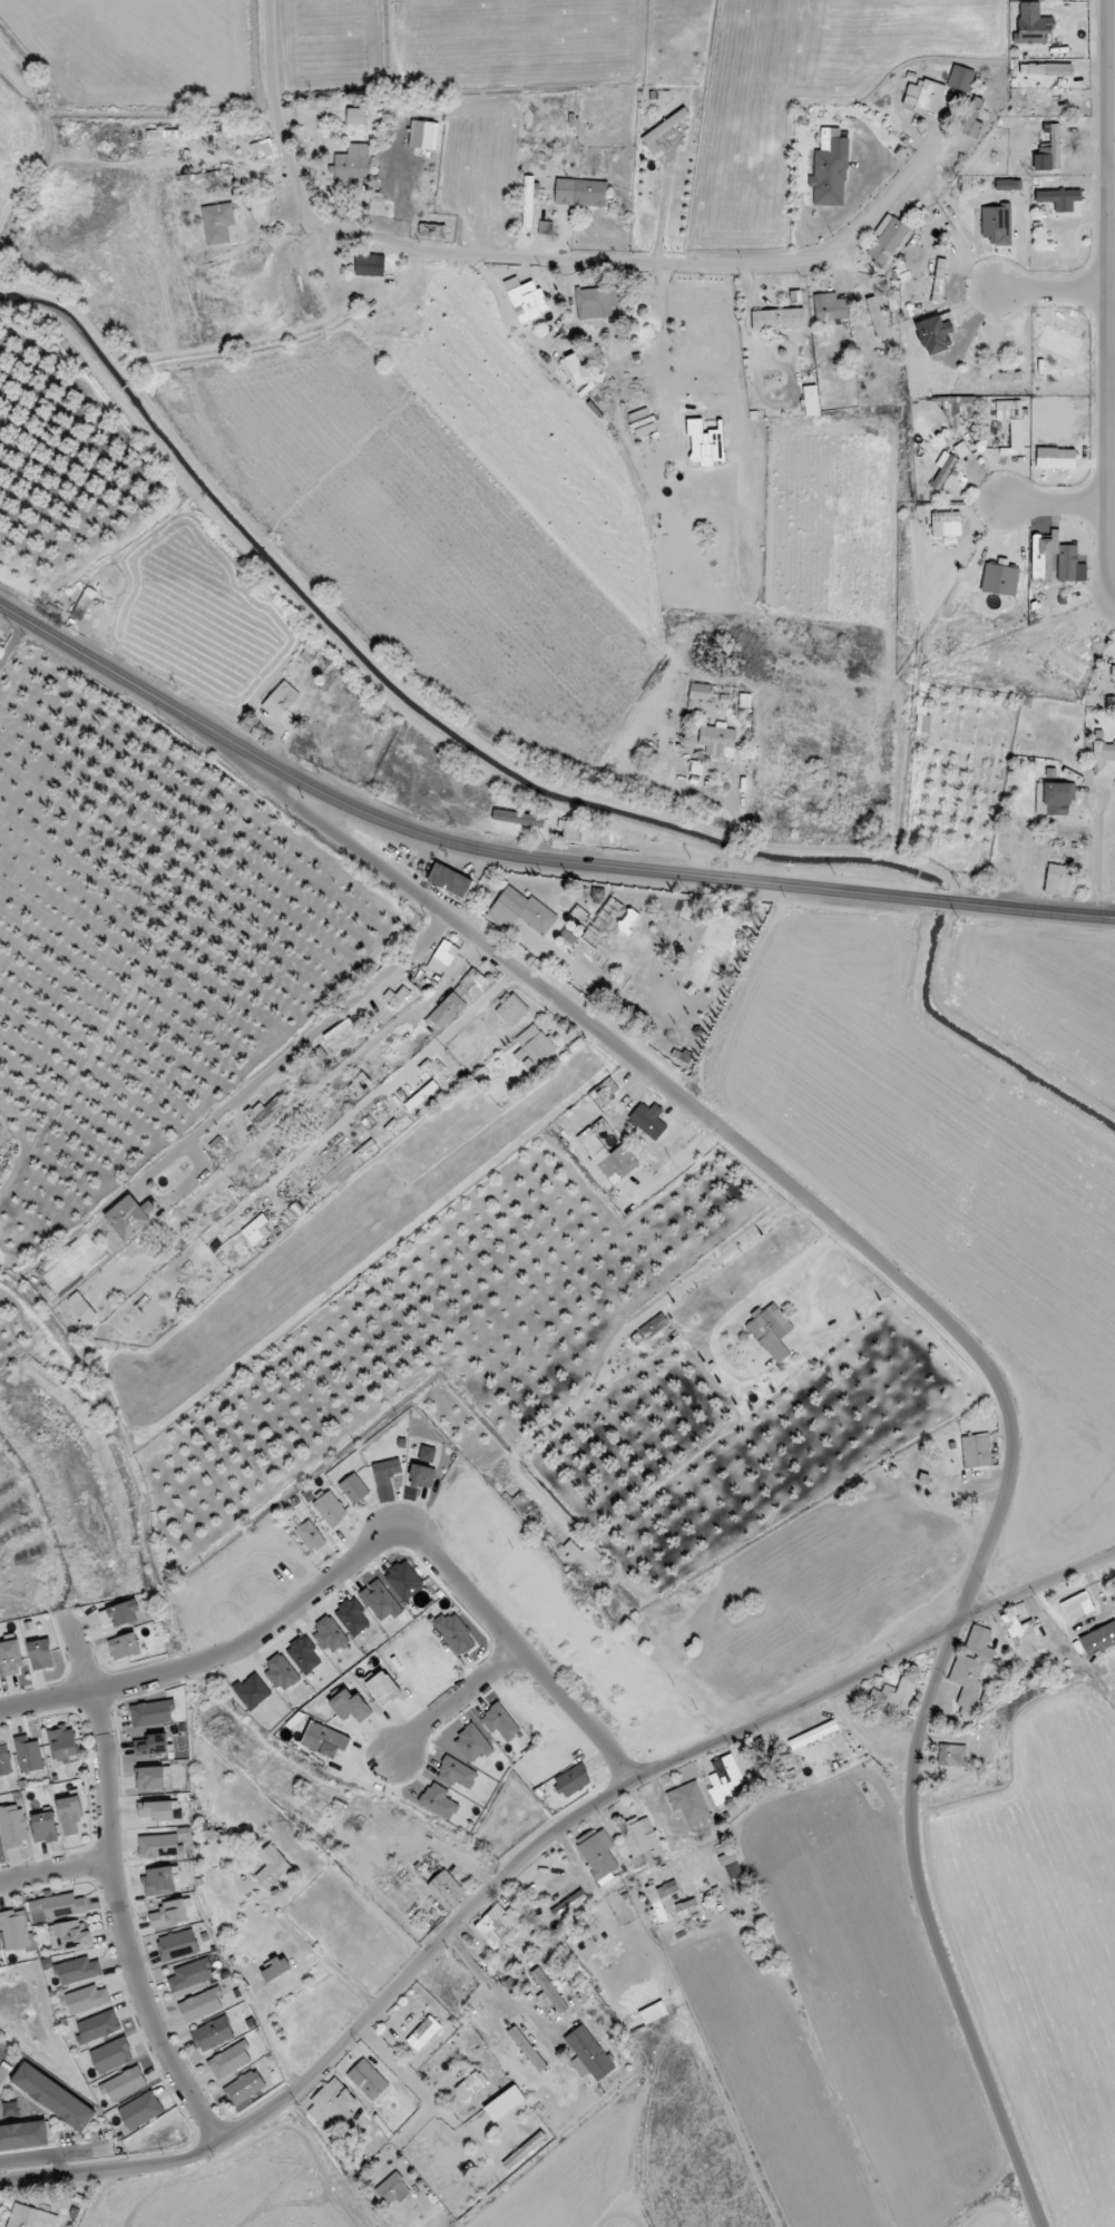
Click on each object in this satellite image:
building: (1033, 30)
building: (1046, 69)
building: (925, 96)
building: (356, 116)
building: (971, 118)
building: (667, 124)
building: (173, 135)
building: (423, 135)
road: (868, 139)
building: (262, 149)
building: (1049, 149)
building: (353, 163)
building: (830, 169)
road: (907, 170)
road: (1112, 184)
building: (1008, 185)
building: (581, 193)
building: (1059, 198)
building: (528, 202)
road: (661, 215)
building: (217, 223)
building: (997, 224)
building: (887, 238)
road: (548, 258)
building: (370, 265)
building: (935, 280)
road: (1054, 287)
building: (528, 302)
building: (597, 302)
road: (1109, 303)
building: (830, 307)
building: (873, 316)
road: (746, 319)
building: (777, 319)
building: (936, 333)
building: (574, 369)
road: (1112, 382)
building: (811, 401)
building: (953, 411)
building: (704, 443)
building: (1056, 458)
building: (947, 469)
road: (1058, 504)
building: (937, 528)
building: (1041, 567)
building: (1000, 579)
road: (1113, 607)
building: (1065, 662)
building: (700, 691)
building: (281, 701)
building: (718, 740)
building: (1104, 759)
road: (713, 797)
building: (1054, 798)
road: (88, 818)
building: (515, 818)
building: (571, 830)
road: (1097, 846)
road: (527, 856)
road: (212, 876)
building: (1057, 879)
building: (449, 880)
building: (521, 911)
road: (2, 918)
building: (442, 957)
building: (458, 1000)
building: (511, 1009)
building: (534, 1047)
building: (397, 1052)
building: (360, 1085)
building: (422, 1097)
building: (648, 1120)
road: (717, 1125)
building: (605, 1147)
building: (129, 1217)
building: (256, 1230)
road: (739, 1237)
building: (81, 1307)
building: (657, 1322)
building: (771, 1331)
building: (977, 1451)
building: (427, 1453)
building: (422, 1476)
building: (385, 1478)
building: (353, 1488)
building: (330, 1508)
building: (310, 1535)
road: (359, 1556)
building: (584, 1556)
building: (404, 1581)
building: (380, 1601)
building: (1076, 1606)
building: (120, 1614)
building: (352, 1616)
building: (1015, 1624)
building: (454, 1633)
building: (330, 1634)
building: (1098, 1639)
building: (979, 1643)
building: (124, 1647)
building: (40, 1654)
road: (85, 1655)
building: (304, 1655)
building: (11, 1658)
building: (281, 1672)
building: (967, 1681)
building: (381, 1687)
building: (252, 1691)
building: (894, 1693)
road: (452, 1699)
building: (351, 1707)
building: (151, 1712)
building: (500, 1722)
building: (813, 1735)
building: (324, 1740)
building: (62, 1743)
building: (471, 1743)
building: (150, 1745)
building: (29, 1754)
building: (951, 1756)
building: (4, 1759)
building: (457, 1772)
building: (150, 1778)
building: (724, 1779)
building: (571, 1780)
building: (439, 1801)
building: (691, 1806)
building: (155, 1810)
building: (70, 1815)
building: (13, 1826)
building: (43, 1826)
building: (642, 1840)
building: (159, 1845)
road: (531, 1852)
building: (599, 1855)
road: (53, 1866)
building: (272, 1869)
building: (159, 1881)
building: (447, 1889)
building: (569, 1904)
building: (58, 1905)
building: (658, 1908)
building: (169, 1914)
building: (499, 1924)
building: (16, 1930)
road: (120, 1930)
road: (937, 1932)
building: (69, 1935)
building: (177, 1945)
building: (0, 1948)
road: (312, 1953)
building: (276, 1969)
building: (78, 1971)
building: (190, 1975)
building: (548, 1992)
building: (86, 2000)
building: (200, 2004)
building: (653, 2012)
road: (262, 2013)
building: (98, 2026)
building: (423, 2033)
building: (213, 2034)
road: (2, 2045)
building: (527, 2049)
building: (588, 2054)
building: (111, 2055)
building: (229, 2060)
building: (368, 2079)
building: (123, 2084)
building: (471, 2086)
building: (245, 2088)
building: (53, 2097)
building: (331, 2103)
building: (505, 2103)
building: (140, 2110)
building: (23, 2137)
road: (56, 2155)
building: (395, 2188)
building: (30, 2217)

